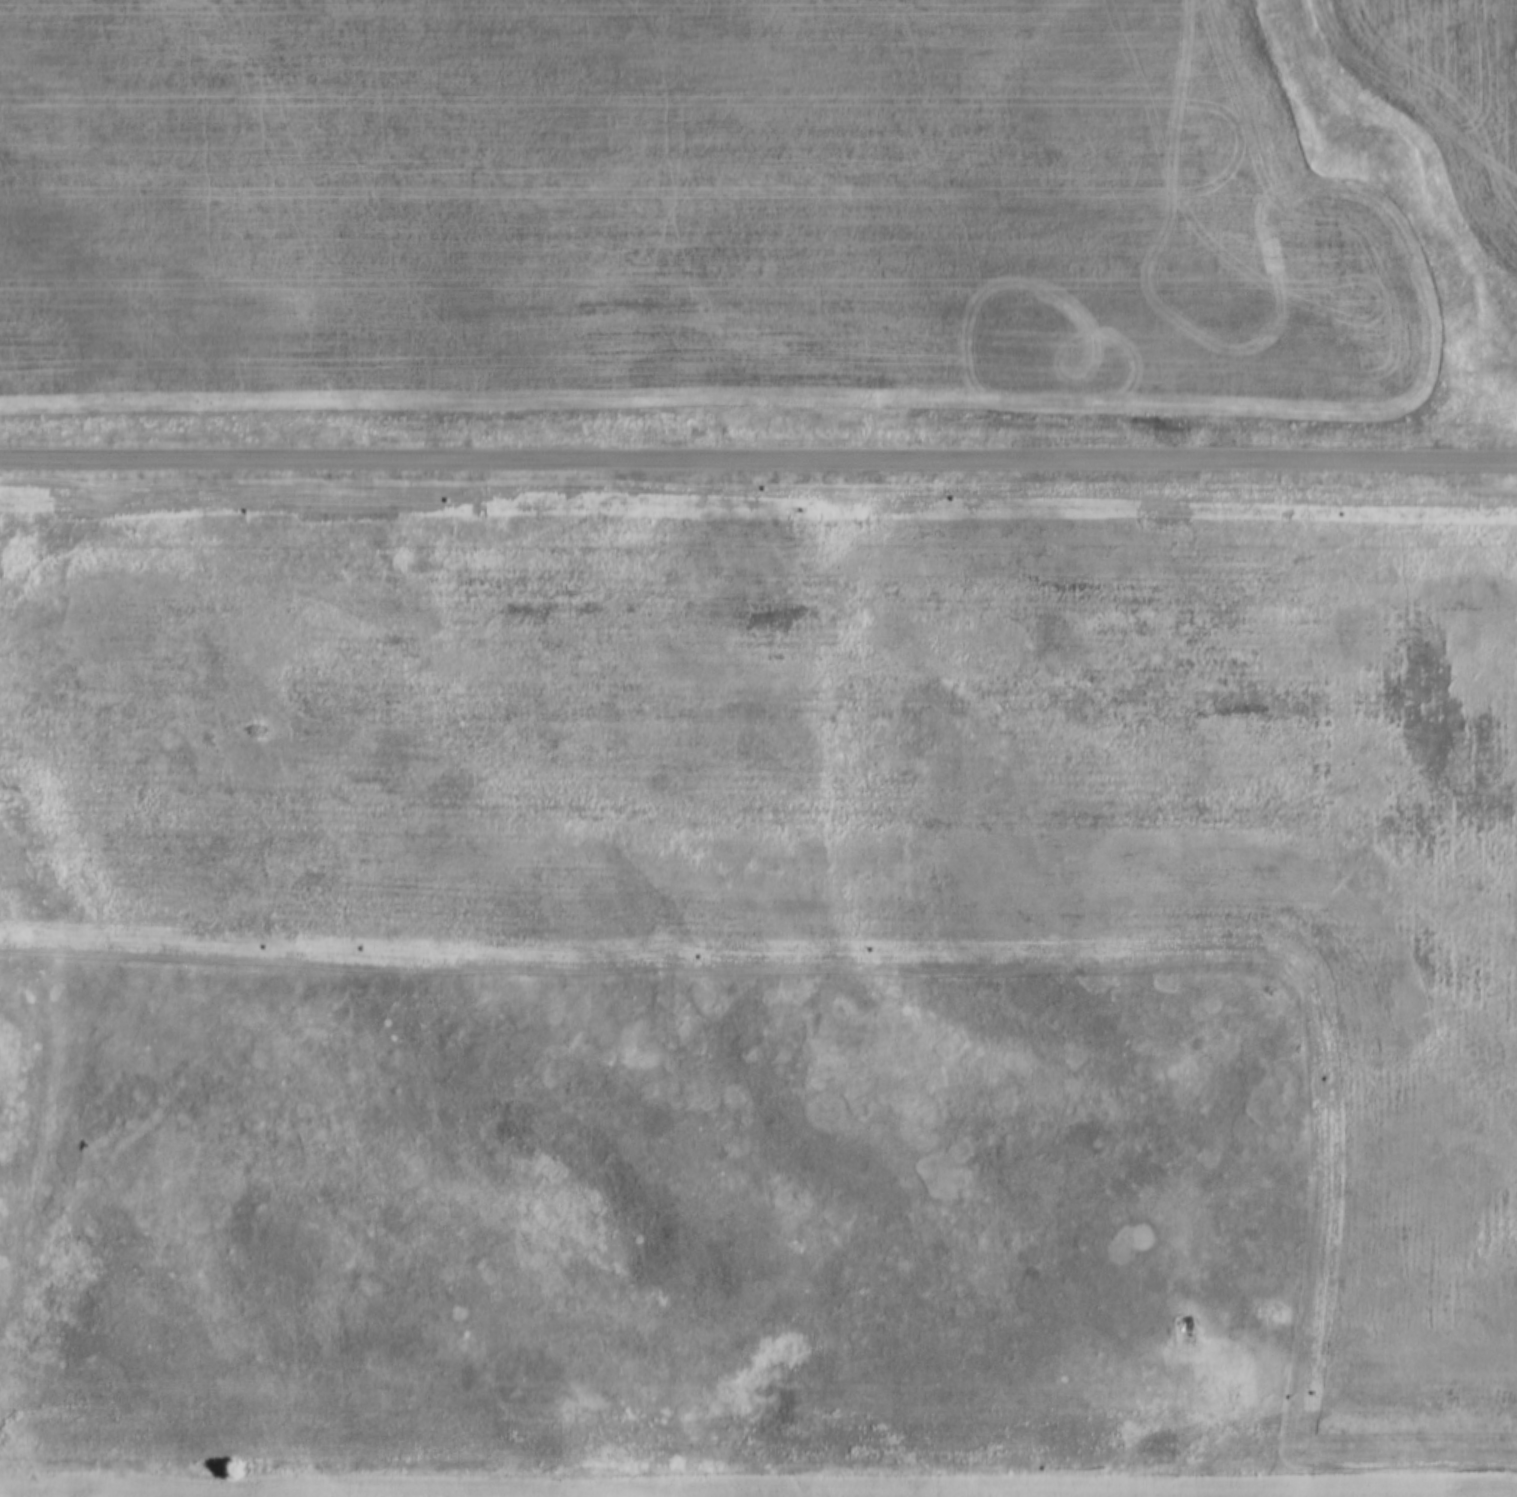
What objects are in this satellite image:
road: (758, 462)

